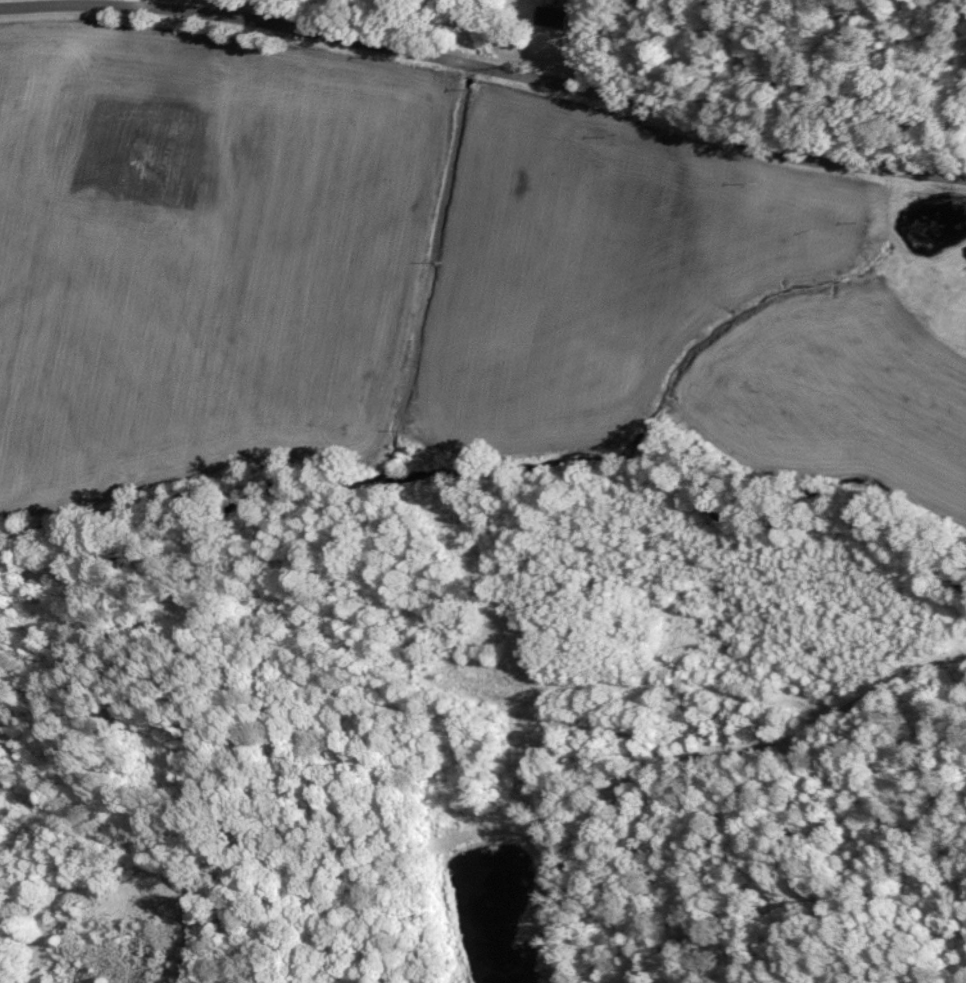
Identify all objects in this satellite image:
road: (211, 13)
building: (546, 16)
road: (418, 27)
road: (692, 122)
building: (965, 249)
building: (959, 321)

